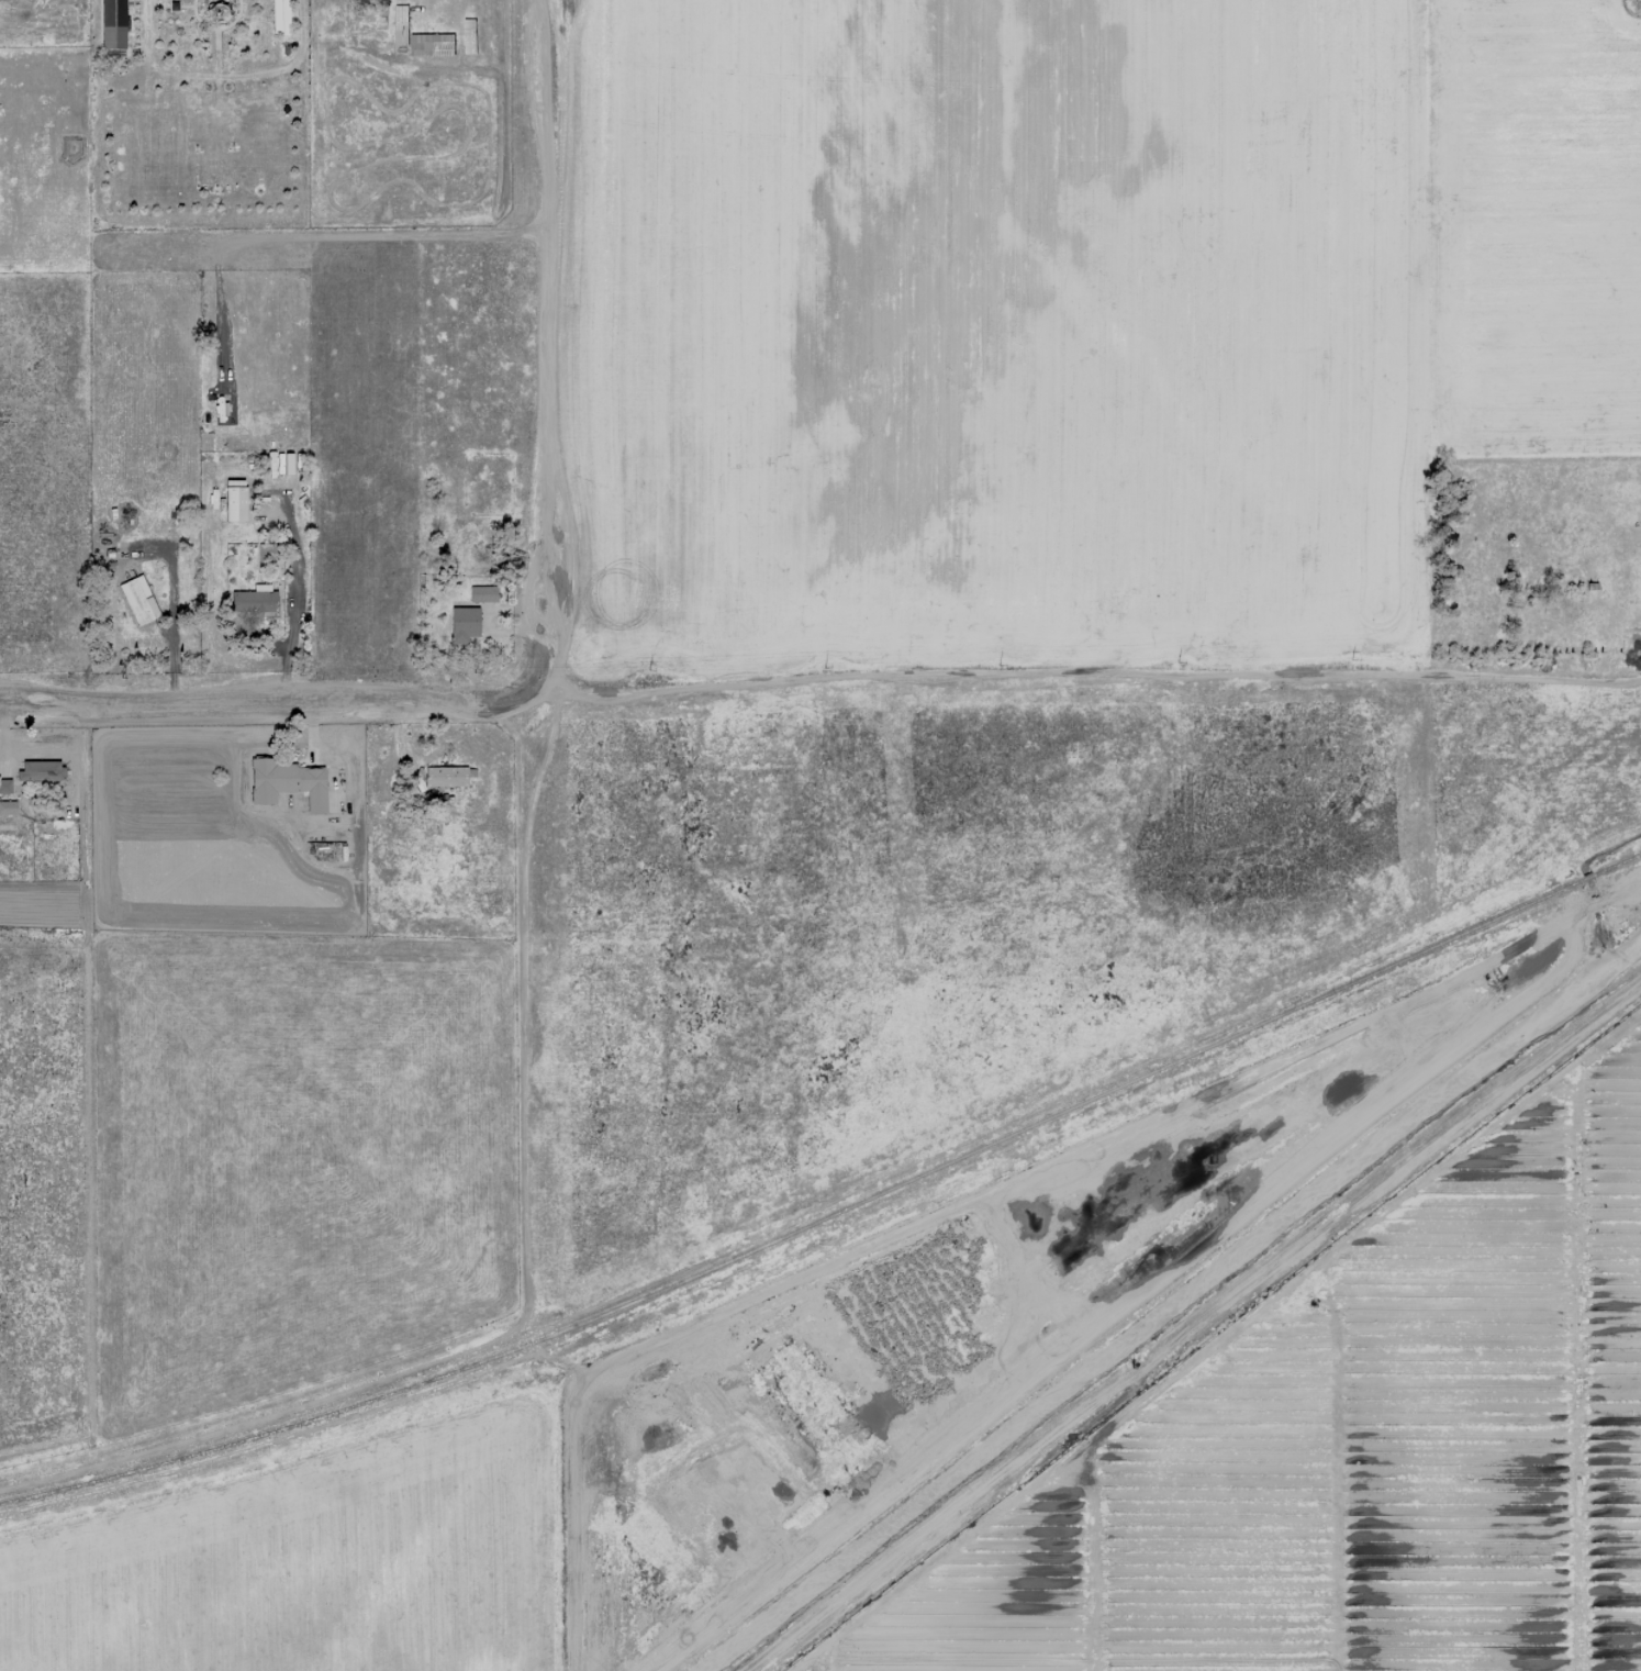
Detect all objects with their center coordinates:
building: (112, 24)
building: (401, 25)
building: (469, 36)
building: (432, 44)
road: (547, 342)
building: (235, 503)
building: (482, 593)
building: (138, 600)
building: (254, 601)
building: (464, 624)
road: (819, 679)
building: (40, 770)
building: (445, 776)
building: (289, 783)
building: (4, 787)
building: (7, 807)
railway: (1192, 1049)
railway: (378, 1394)

